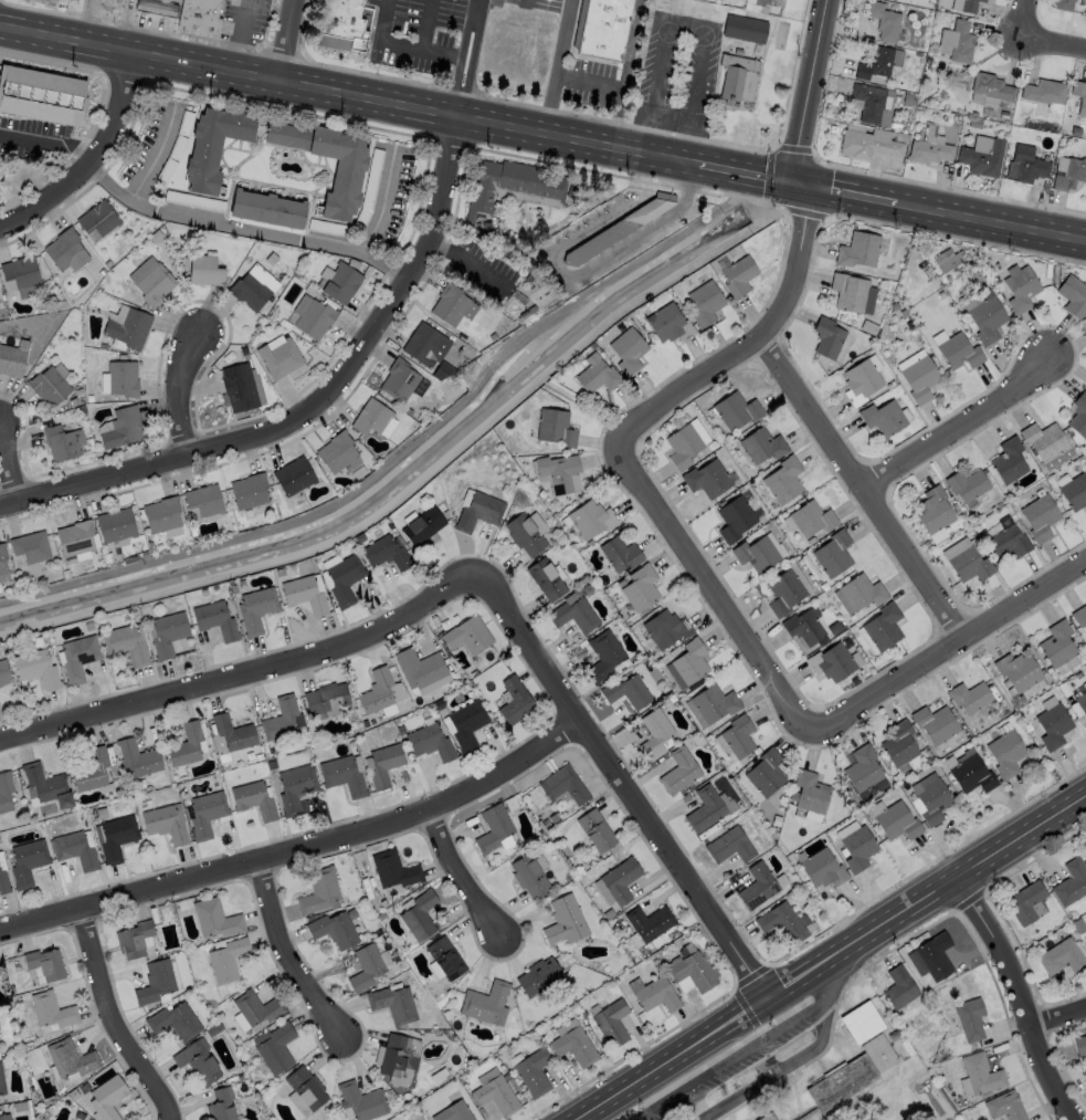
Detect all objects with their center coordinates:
building: (769, 2)
building: (1061, 4)
building: (964, 6)
road: (1023, 15)
building: (199, 18)
building: (884, 21)
building: (342, 22)
road: (424, 23)
building: (604, 28)
building: (744, 29)
road: (688, 30)
road: (236, 35)
road: (1053, 39)
road: (292, 41)
building: (956, 42)
road: (404, 43)
road: (464, 57)
building: (875, 64)
road: (556, 66)
building: (737, 78)
road: (814, 90)
building: (989, 91)
building: (1044, 92)
building: (40, 94)
road: (349, 95)
building: (1078, 96)
building: (872, 104)
road: (51, 139)
building: (213, 145)
building: (865, 146)
building: (927, 153)
road: (154, 156)
building: (981, 159)
road: (91, 161)
building: (349, 164)
building: (1027, 165)
road: (749, 171)
building: (1067, 174)
traffic signals: (799, 180)
building: (509, 186)
road: (847, 190)
road: (380, 203)
building: (266, 208)
building: (96, 218)
road: (991, 221)
building: (615, 228)
road: (246, 229)
road: (645, 231)
building: (856, 249)
building: (64, 250)
building: (946, 258)
road: (468, 260)
building: (203, 270)
building: (20, 271)
building: (737, 275)
building: (150, 280)
building: (339, 282)
building: (252, 287)
building: (1020, 287)
building: (27, 291)
building: (847, 291)
building: (1073, 295)
building: (704, 302)
building: (451, 304)
building: (314, 318)
building: (987, 318)
building: (662, 320)
building: (126, 325)
building: (825, 336)
building: (423, 343)
road: (765, 348)
building: (626, 349)
building: (958, 352)
building: (278, 357)
building: (11, 359)
building: (594, 373)
building: (120, 378)
building: (398, 378)
building: (919, 378)
building: (858, 380)
building: (48, 385)
building: (238, 386)
building: (1085, 386)
road: (178, 387)
building: (1085, 388)
building: (735, 409)
road: (317, 410)
building: (1078, 414)
building: (370, 416)
building: (883, 417)
road: (966, 423)
building: (122, 427)
building: (553, 427)
building: (1043, 440)
building: (61, 441)
building: (760, 443)
building: (682, 444)
building: (337, 452)
road: (11, 460)
building: (1008, 460)
building: (557, 470)
building: (293, 474)
building: (706, 477)
building: (782, 479)
building: (966, 484)
building: (247, 490)
building: (1074, 491)
road: (867, 492)
building: (203, 499)
building: (932, 509)
building: (477, 510)
building: (162, 515)
building: (734, 516)
building: (810, 516)
building: (1038, 516)
building: (587, 517)
building: (114, 523)
building: (421, 524)
building: (523, 533)
building: (937, 535)
building: (74, 536)
building: (1006, 541)
building: (29, 545)
building: (383, 552)
building: (755, 552)
building: (832, 552)
building: (619, 553)
building: (2, 558)
building: (964, 559)
building: (342, 577)
building: (544, 577)
road: (715, 586)
building: (637, 587)
building: (783, 590)
building: (861, 590)
building: (303, 593)
building: (255, 608)
building: (571, 614)
building: (1079, 616)
building: (214, 618)
building: (882, 625)
building: (803, 626)
building: (660, 628)
building: (167, 632)
building: (467, 634)
building: (125, 642)
building: (1055, 643)
road: (950, 648)
building: (601, 655)
building: (77, 656)
building: (687, 660)
building: (834, 661)
building: (35, 667)
building: (419, 667)
building: (3, 671)
building: (1020, 672)
road: (247, 677)
building: (376, 690)
building: (623, 690)
building: (968, 695)
building: (325, 697)
building: (514, 701)
building: (711, 702)
building: (1080, 702)
building: (280, 718)
building: (465, 723)
building: (934, 723)
building: (1052, 725)
building: (652, 732)
building: (230, 734)
building: (737, 736)
building: (429, 742)
building: (898, 743)
building: (184, 744)
building: (1004, 753)
building: (136, 758)
building: (382, 764)
building: (861, 768)
building: (91, 771)
building: (677, 771)
building: (763, 773)
building: (968, 773)
building: (342, 775)
road: (623, 784)
building: (46, 785)
building: (295, 786)
building: (561, 786)
building: (4, 791)
building: (808, 792)
building: (254, 799)
building: (930, 799)
building: (703, 809)
building: (204, 814)
building: (894, 819)
building: (165, 823)
building: (492, 827)
building: (593, 830)
building: (115, 837)
building: (728, 846)
building: (856, 847)
road: (299, 848)
building: (74, 850)
building: (1084, 851)
building: (27, 861)
building: (818, 867)
building: (393, 871)
building: (527, 875)
road: (464, 879)
building: (619, 879)
building: (3, 883)
building: (1072, 883)
building: (758, 885)
building: (318, 890)
building: (1024, 902)
building: (419, 914)
building: (215, 918)
building: (563, 920)
building: (780, 921)
building: (647, 922)
building: (333, 929)
building: (133, 939)
road: (829, 955)
building: (934, 956)
building: (444, 957)
building: (1061, 957)
building: (225, 959)
road: (289, 959)
building: (43, 962)
building: (365, 966)
building: (690, 972)
building: (536, 975)
building: (155, 981)
building: (897, 987)
building: (655, 995)
road: (1016, 997)
building: (485, 1002)
building: (391, 1004)
building: (255, 1007)
building: (50, 1009)
road: (1056, 1014)
building: (969, 1018)
road: (115, 1019)
building: (173, 1020)
building: (860, 1022)
building: (609, 1023)
building: (1079, 1044)
building: (572, 1046)
building: (274, 1048)
road: (759, 1049)
building: (0, 1050)
building: (877, 1051)
building: (70, 1057)
building: (397, 1059)
building: (200, 1060)
parking lot: (729, 1068)
road: (778, 1070)
building: (531, 1072)
building: (977, 1075)
building: (2, 1080)
building: (843, 1084)
building: (304, 1087)
building: (494, 1095)
building: (107, 1097)
building: (359, 1100)
building: (220, 1105)
building: (1004, 1106)
building: (452, 1111)
building: (6, 1117)
building: (768, 1118)

